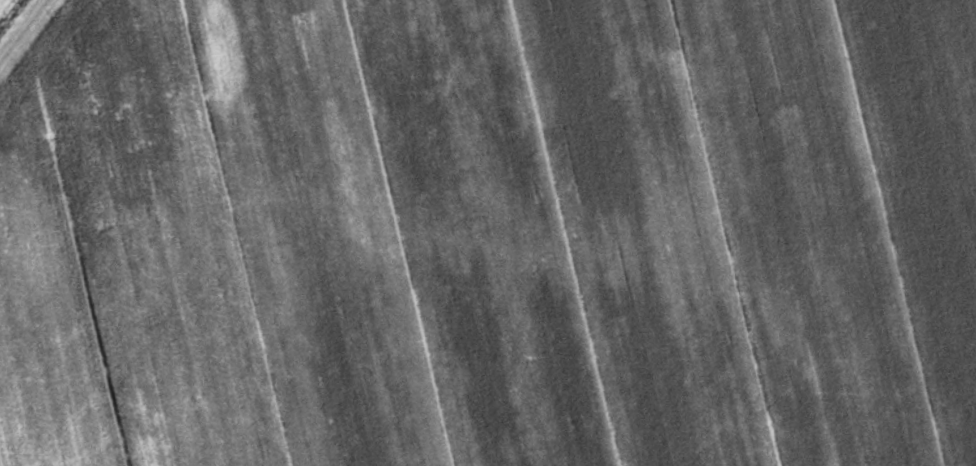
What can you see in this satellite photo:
crop: (0, 0)
crop: (489, 233)

